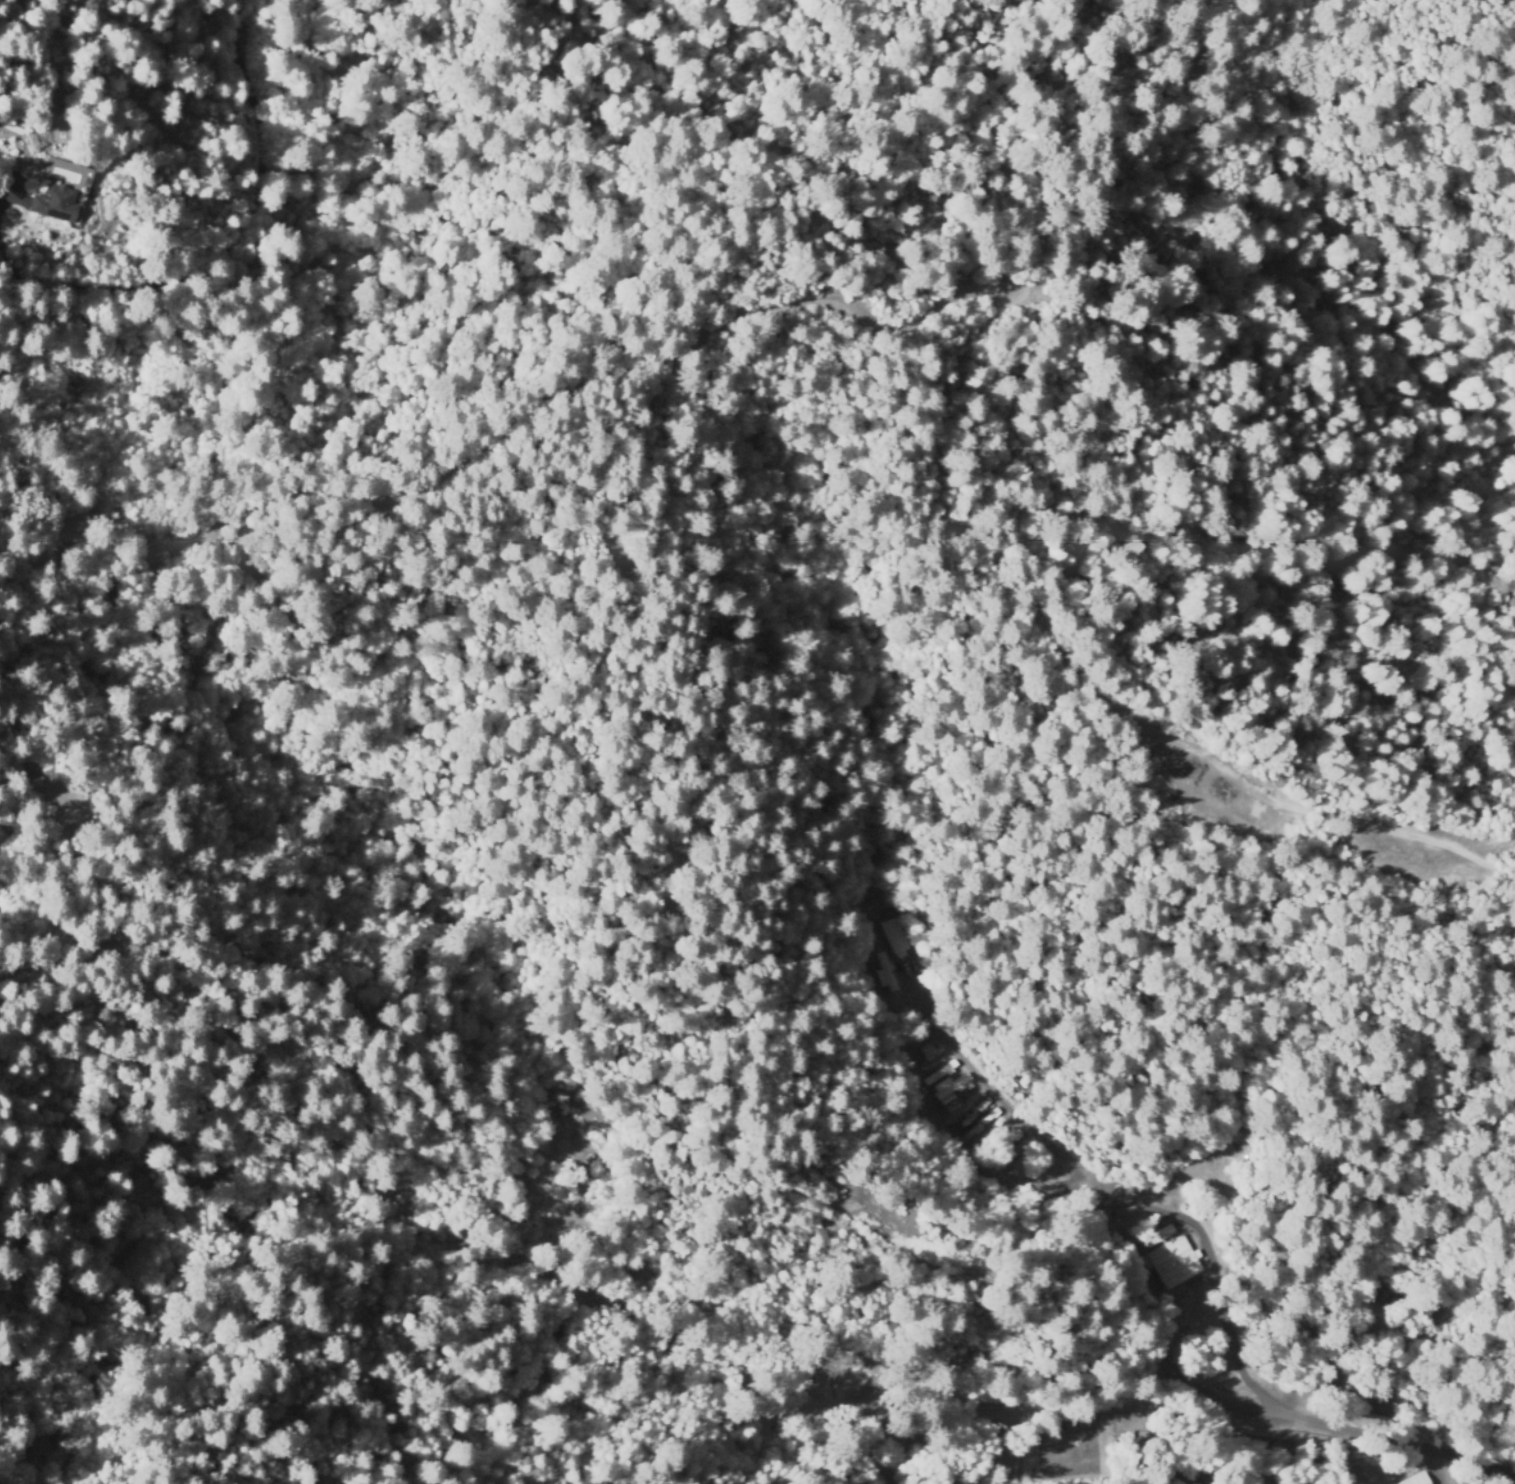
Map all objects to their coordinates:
building: (54, 203)
road: (991, 560)
road: (721, 901)
building: (906, 938)
building: (950, 1088)
road: (1012, 1111)
building: (1004, 1143)
building: (1156, 1235)
building: (1175, 1260)
road: (1119, 1262)
road: (1286, 1280)
park: (953, 1362)
building: (1352, 1370)
road: (1010, 1405)
building: (1121, 1437)
road: (1438, 1437)
park: (1068, 1450)
road: (1347, 1453)
building: (1408, 1479)

